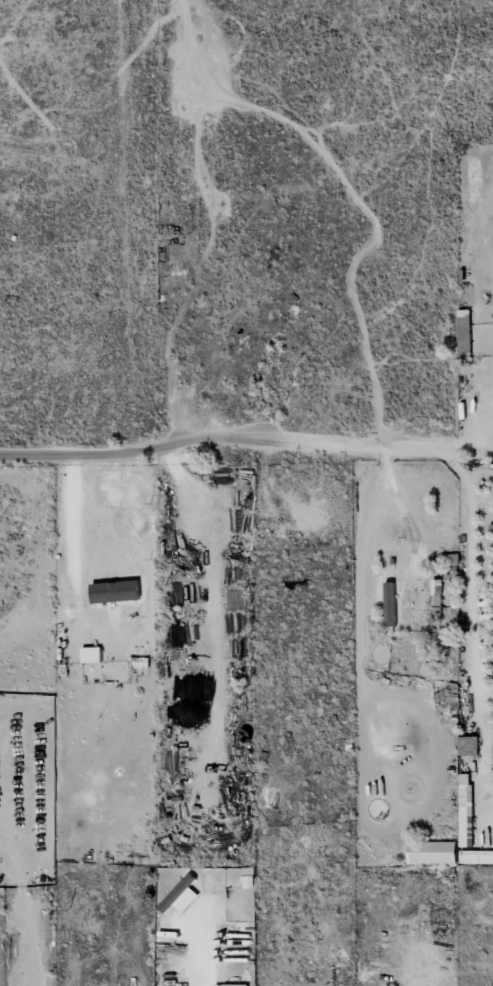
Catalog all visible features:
building: (464, 333)
road: (223, 436)
building: (115, 591)
road: (11, 599)
building: (407, 607)
building: (439, 852)
building: (476, 856)
building: (248, 877)
building: (181, 895)
building: (232, 984)

